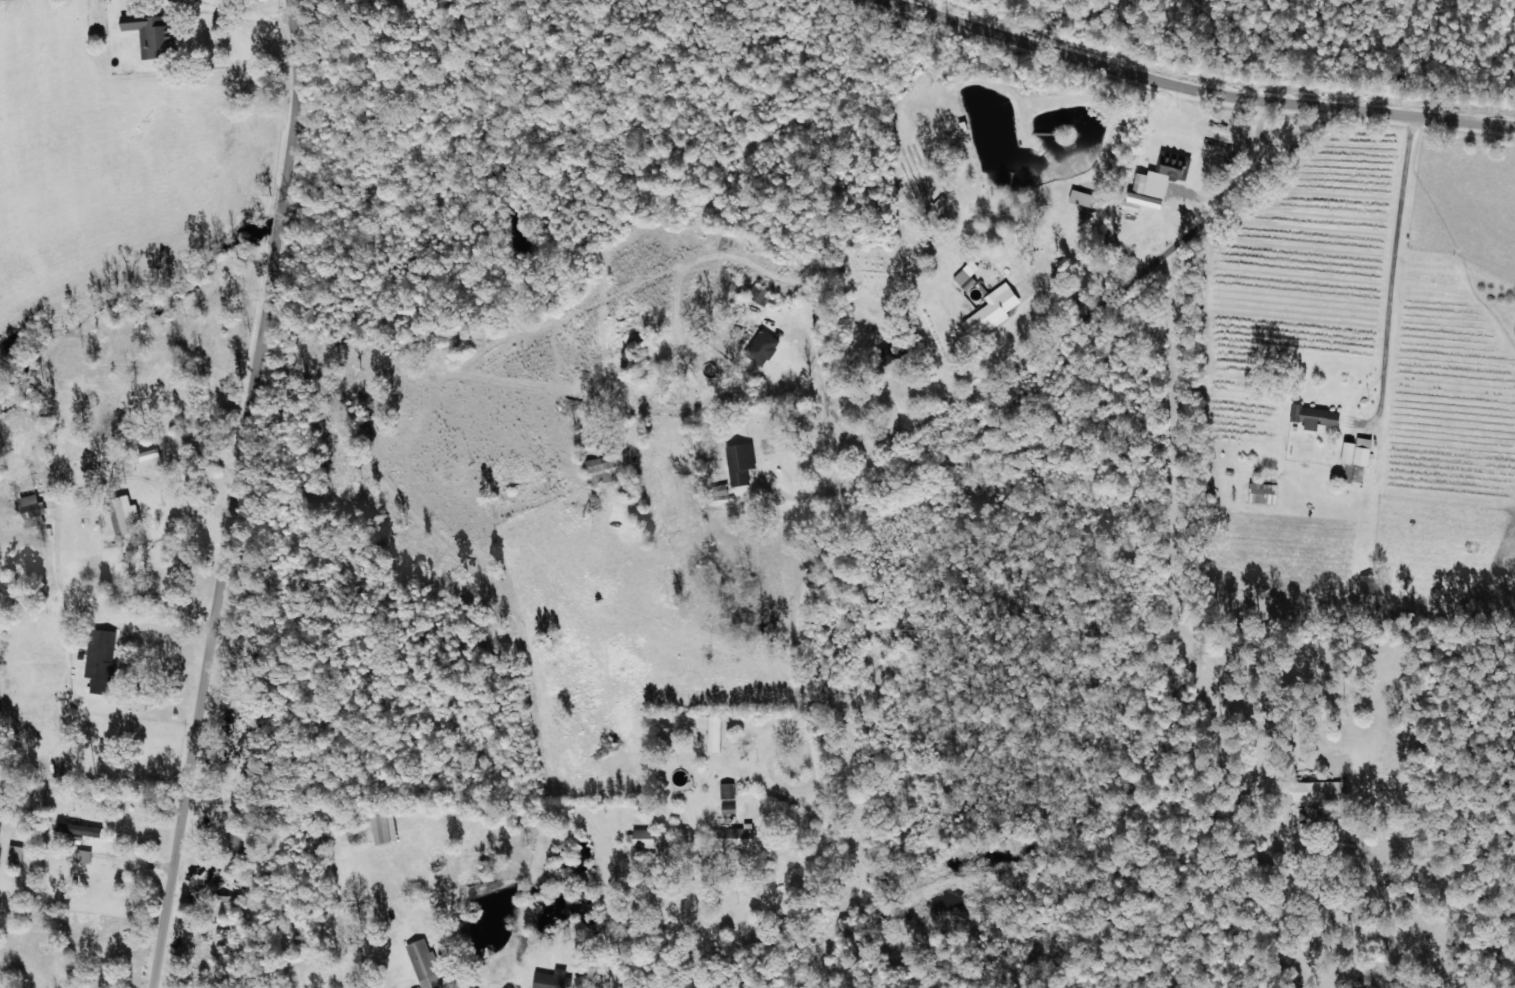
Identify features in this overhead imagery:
building: (151, 35)
road: (1190, 88)
building: (1081, 198)
building: (965, 275)
road: (1077, 303)
building: (990, 310)
building: (760, 350)
building: (1312, 415)
road: (1333, 445)
building: (147, 456)
building: (1354, 458)
building: (738, 461)
building: (598, 469)
building: (1261, 492)
road: (235, 495)
building: (31, 509)
building: (122, 514)
building: (99, 659)
building: (710, 730)
building: (725, 790)
building: (727, 808)
building: (381, 827)
building: (77, 828)
building: (732, 836)
building: (639, 838)
building: (13, 854)
building: (81, 855)
road: (755, 859)
building: (222, 907)
building: (422, 963)
building: (549, 979)

